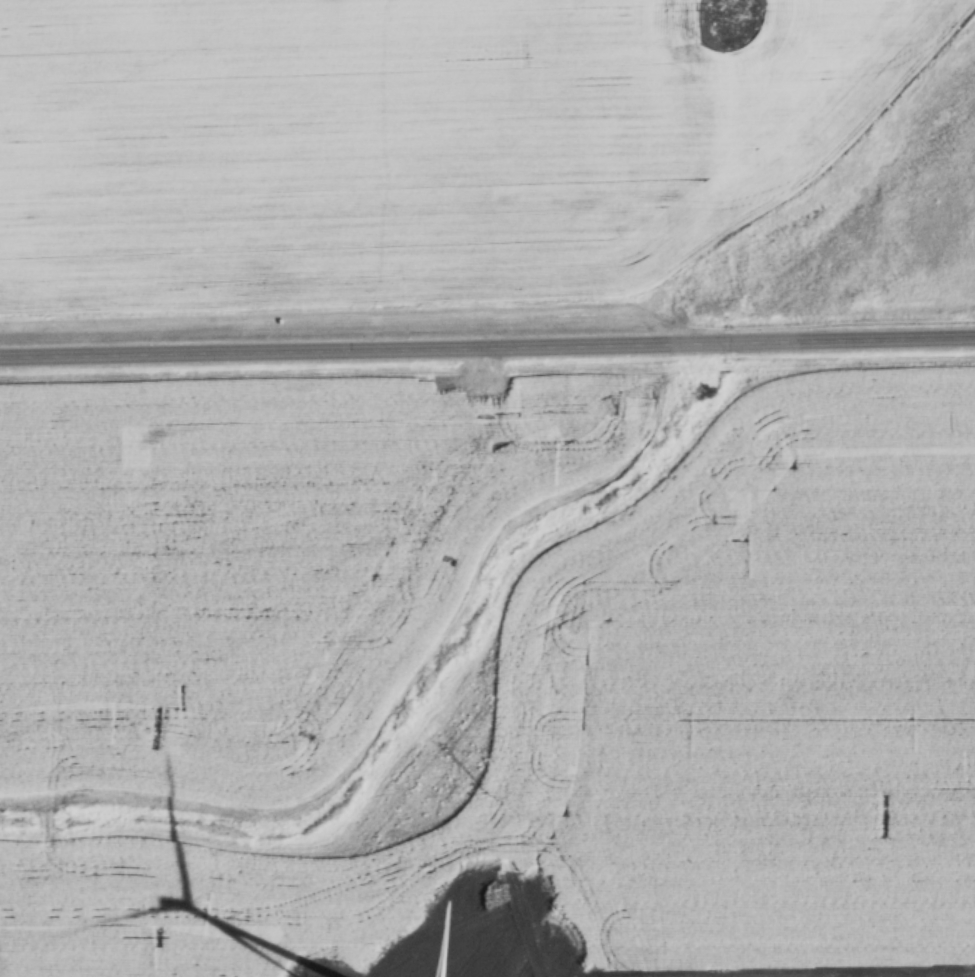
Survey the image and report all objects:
road: (487, 358)

